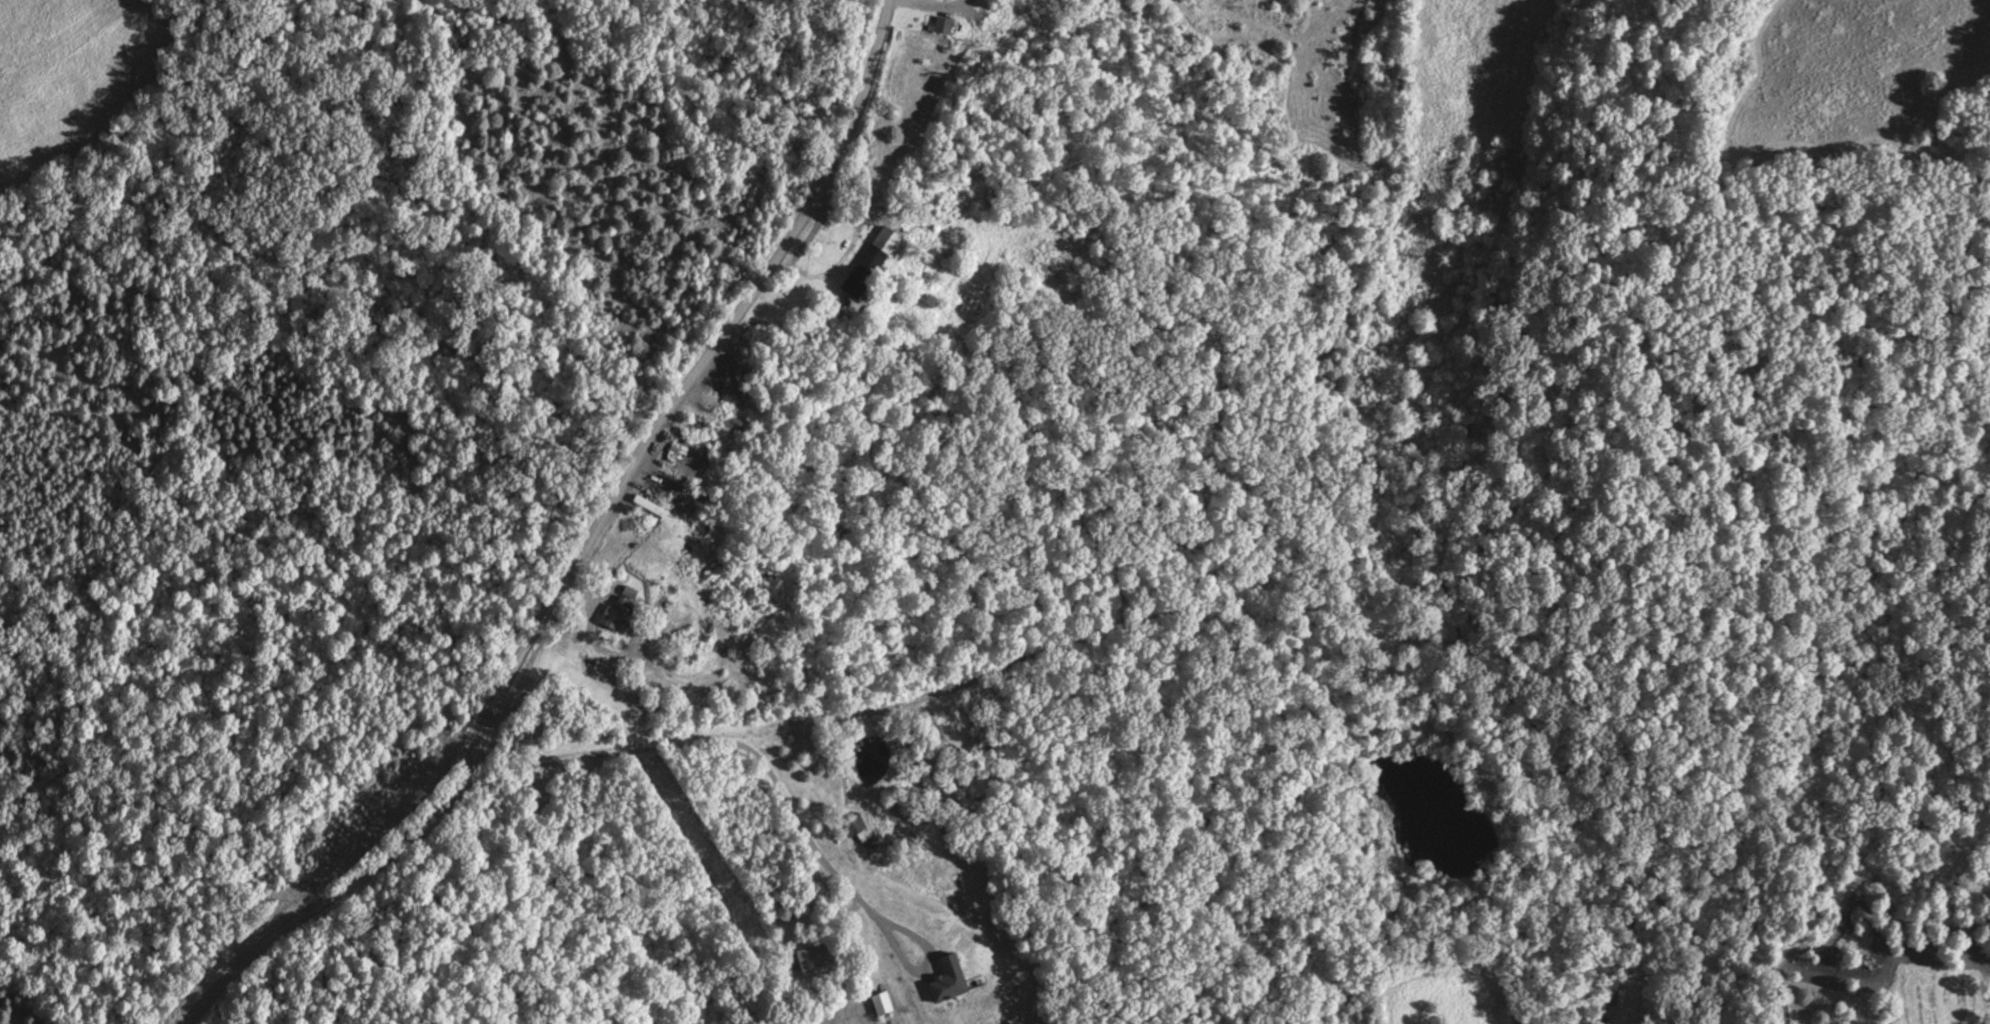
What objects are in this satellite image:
road: (929, 7)
building: (873, 261)
building: (1058, 276)
building: (657, 486)
road: (584, 554)
building: (621, 608)
road: (771, 735)
building: (813, 955)
building: (881, 1002)

